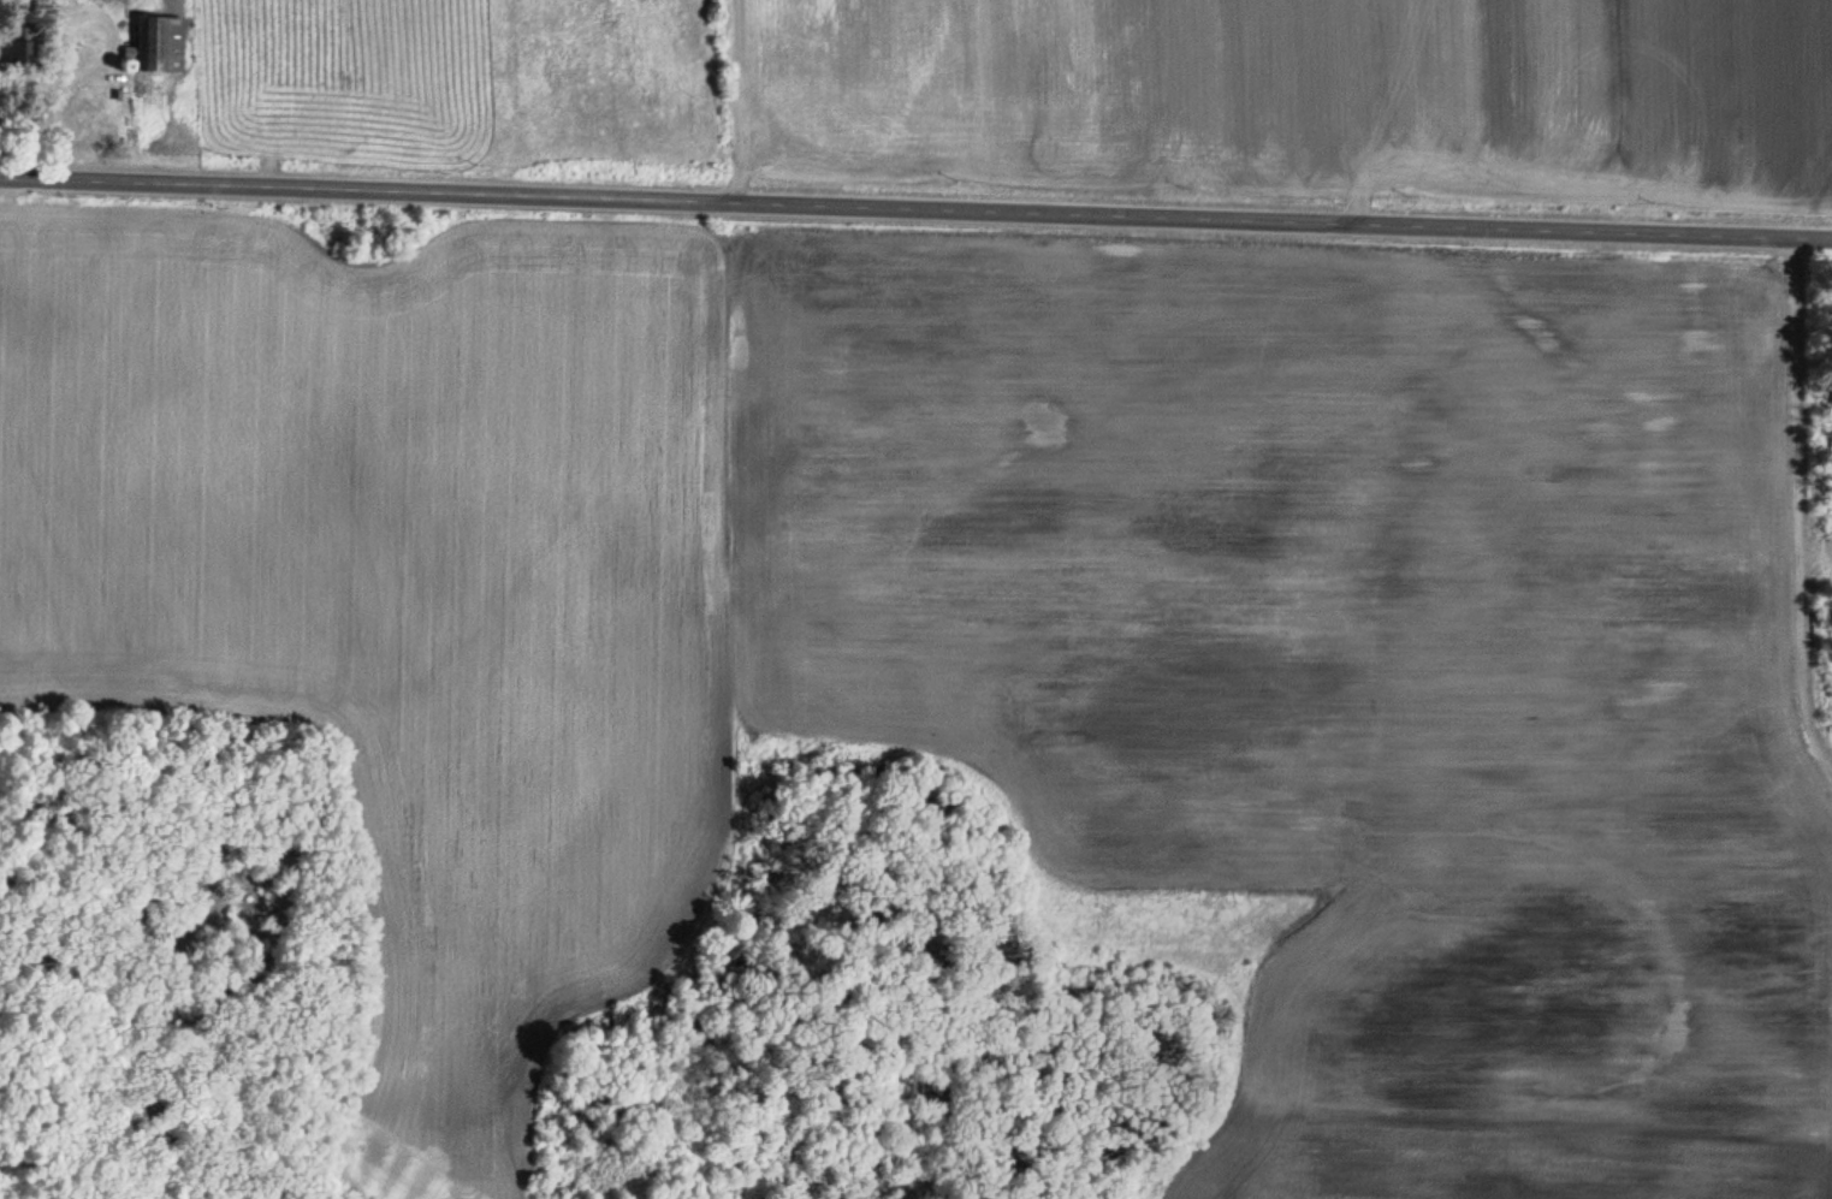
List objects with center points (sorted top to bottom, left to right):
building: (166, 43)
building: (35, 44)
road: (915, 207)

